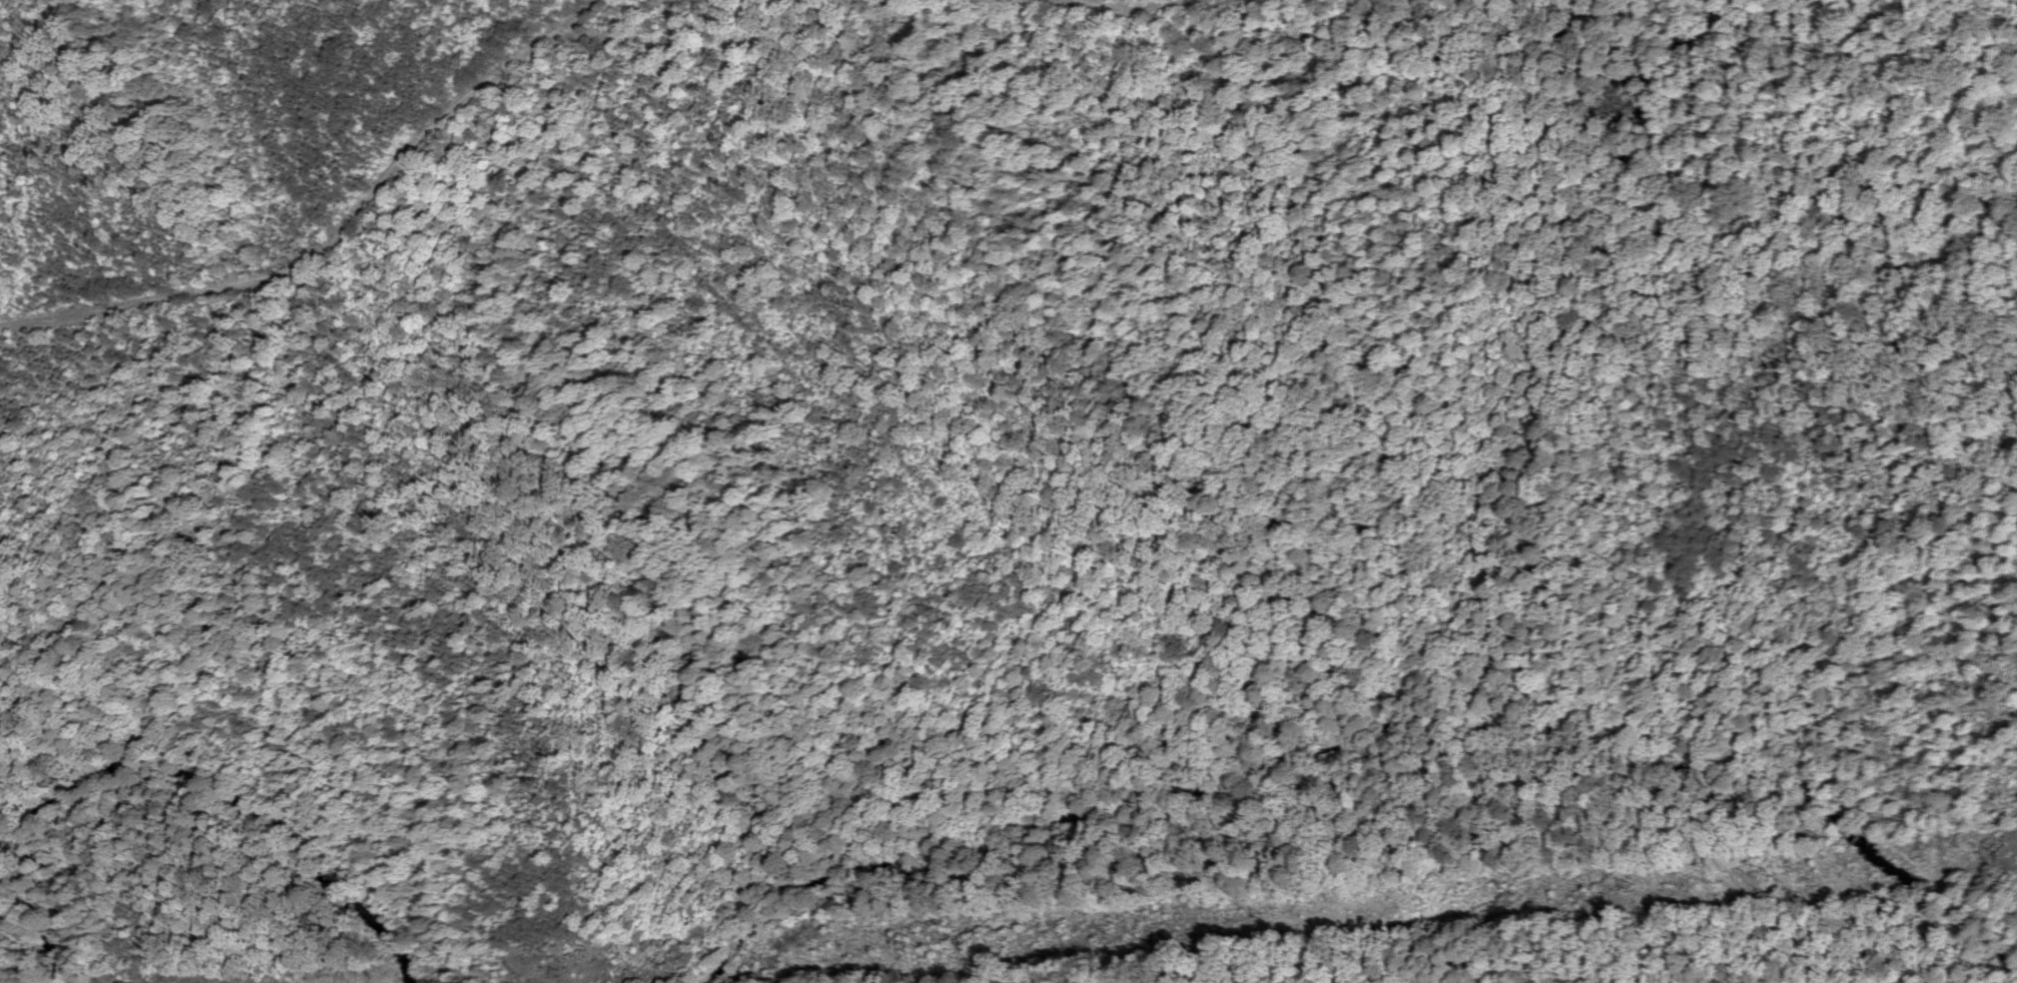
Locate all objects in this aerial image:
road: (338, 238)

